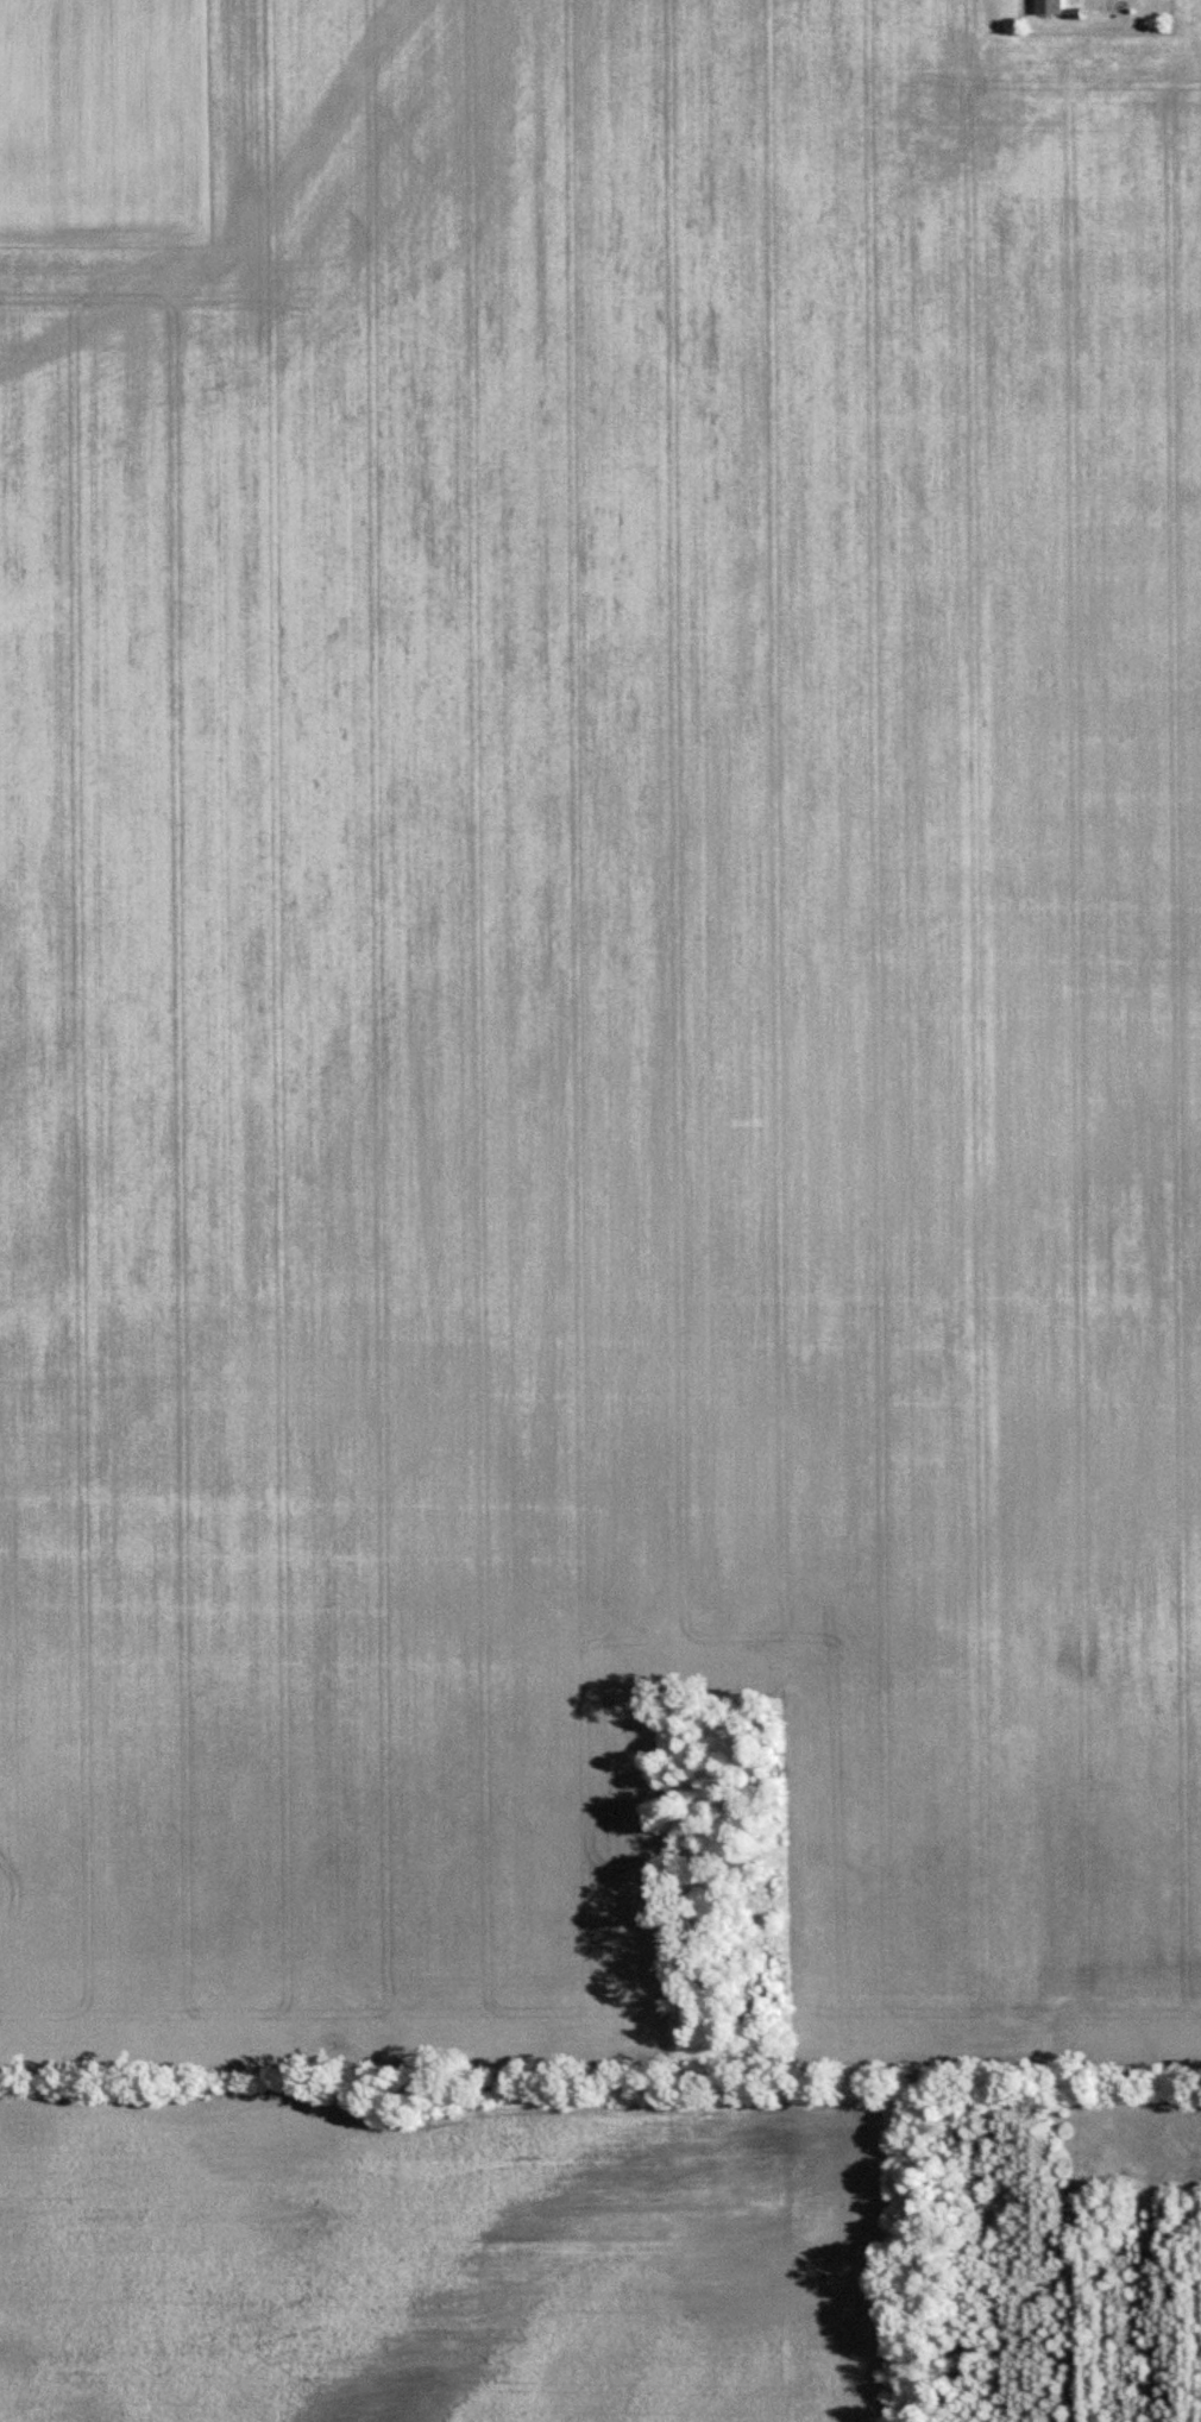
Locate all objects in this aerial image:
building: (1049, 6)

